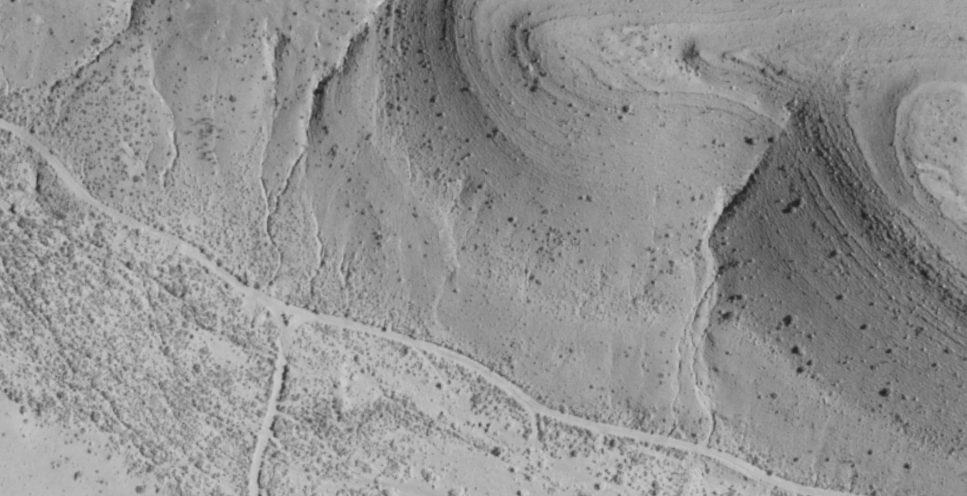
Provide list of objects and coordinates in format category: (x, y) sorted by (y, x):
road: (145, 241)
road: (484, 376)

